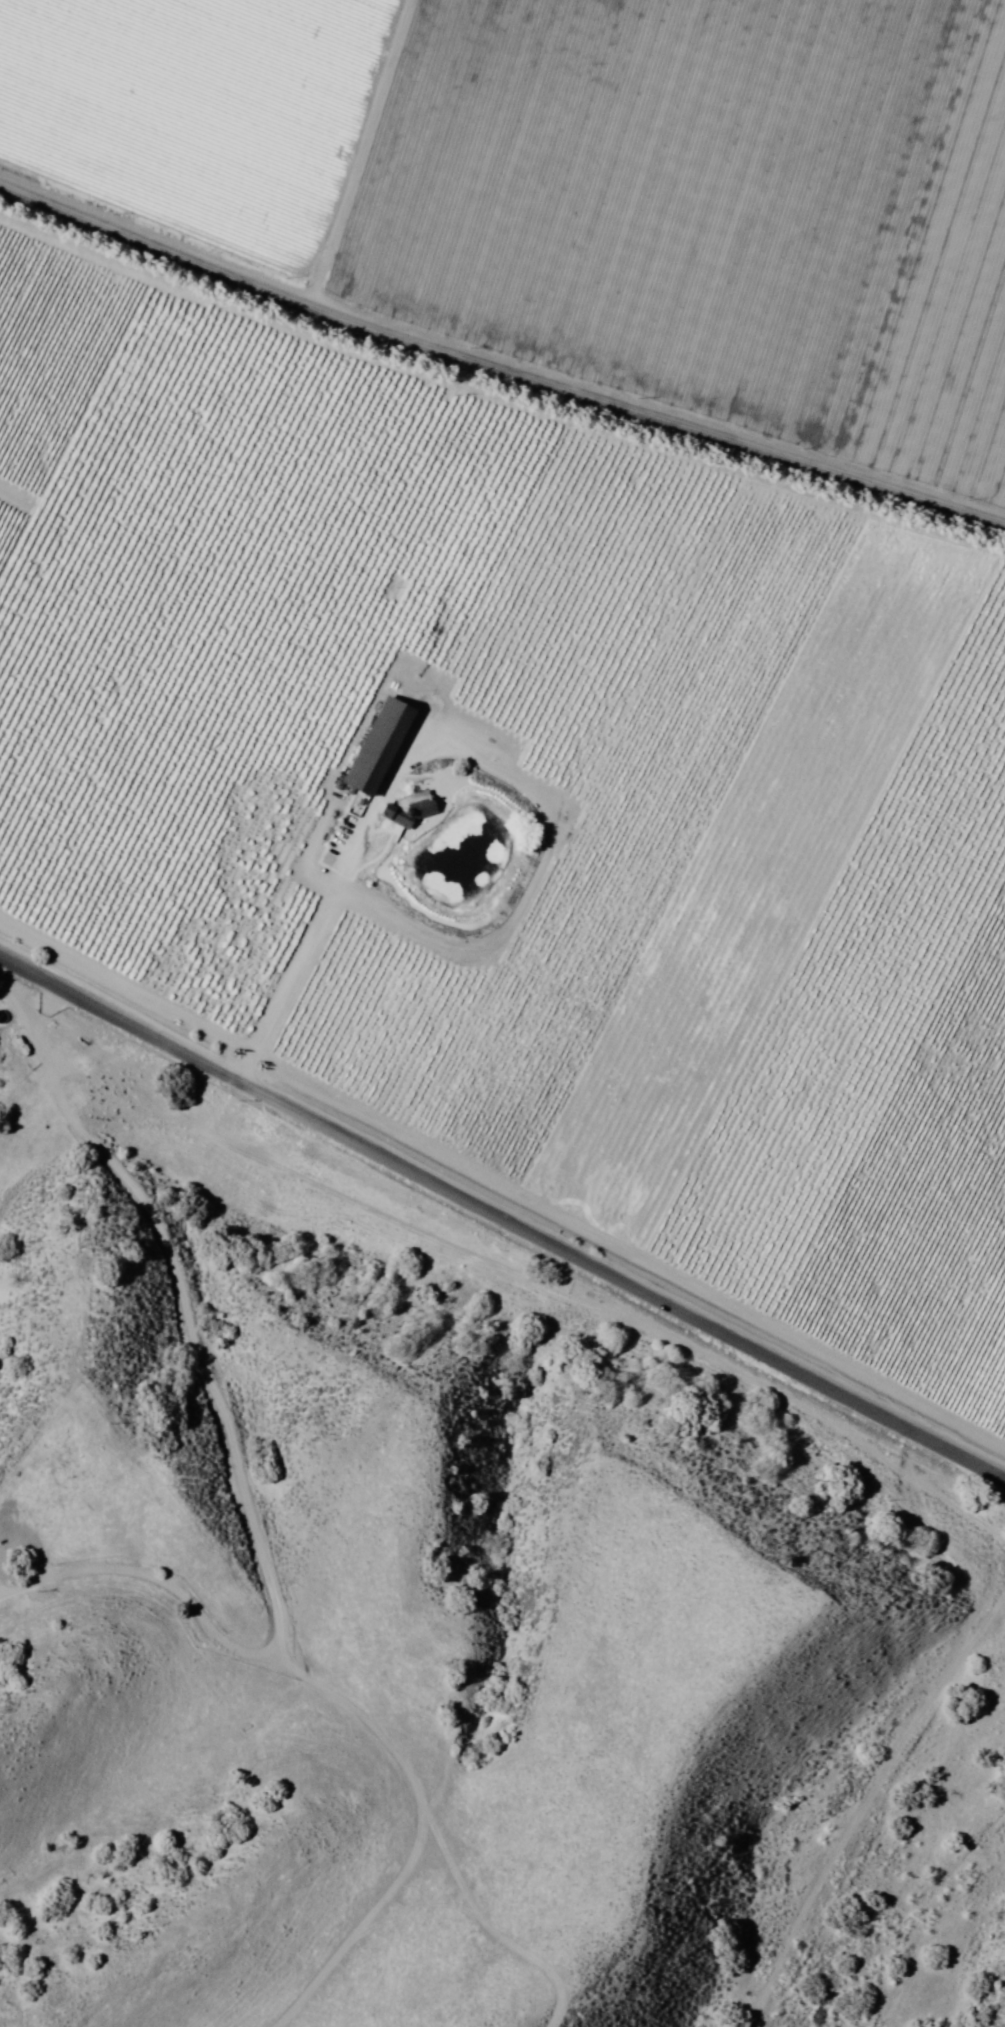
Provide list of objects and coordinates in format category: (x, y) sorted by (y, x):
road: (496, 367)
building: (381, 745)
building: (410, 807)
building: (3, 1015)
road: (502, 1219)
road: (351, 1602)

